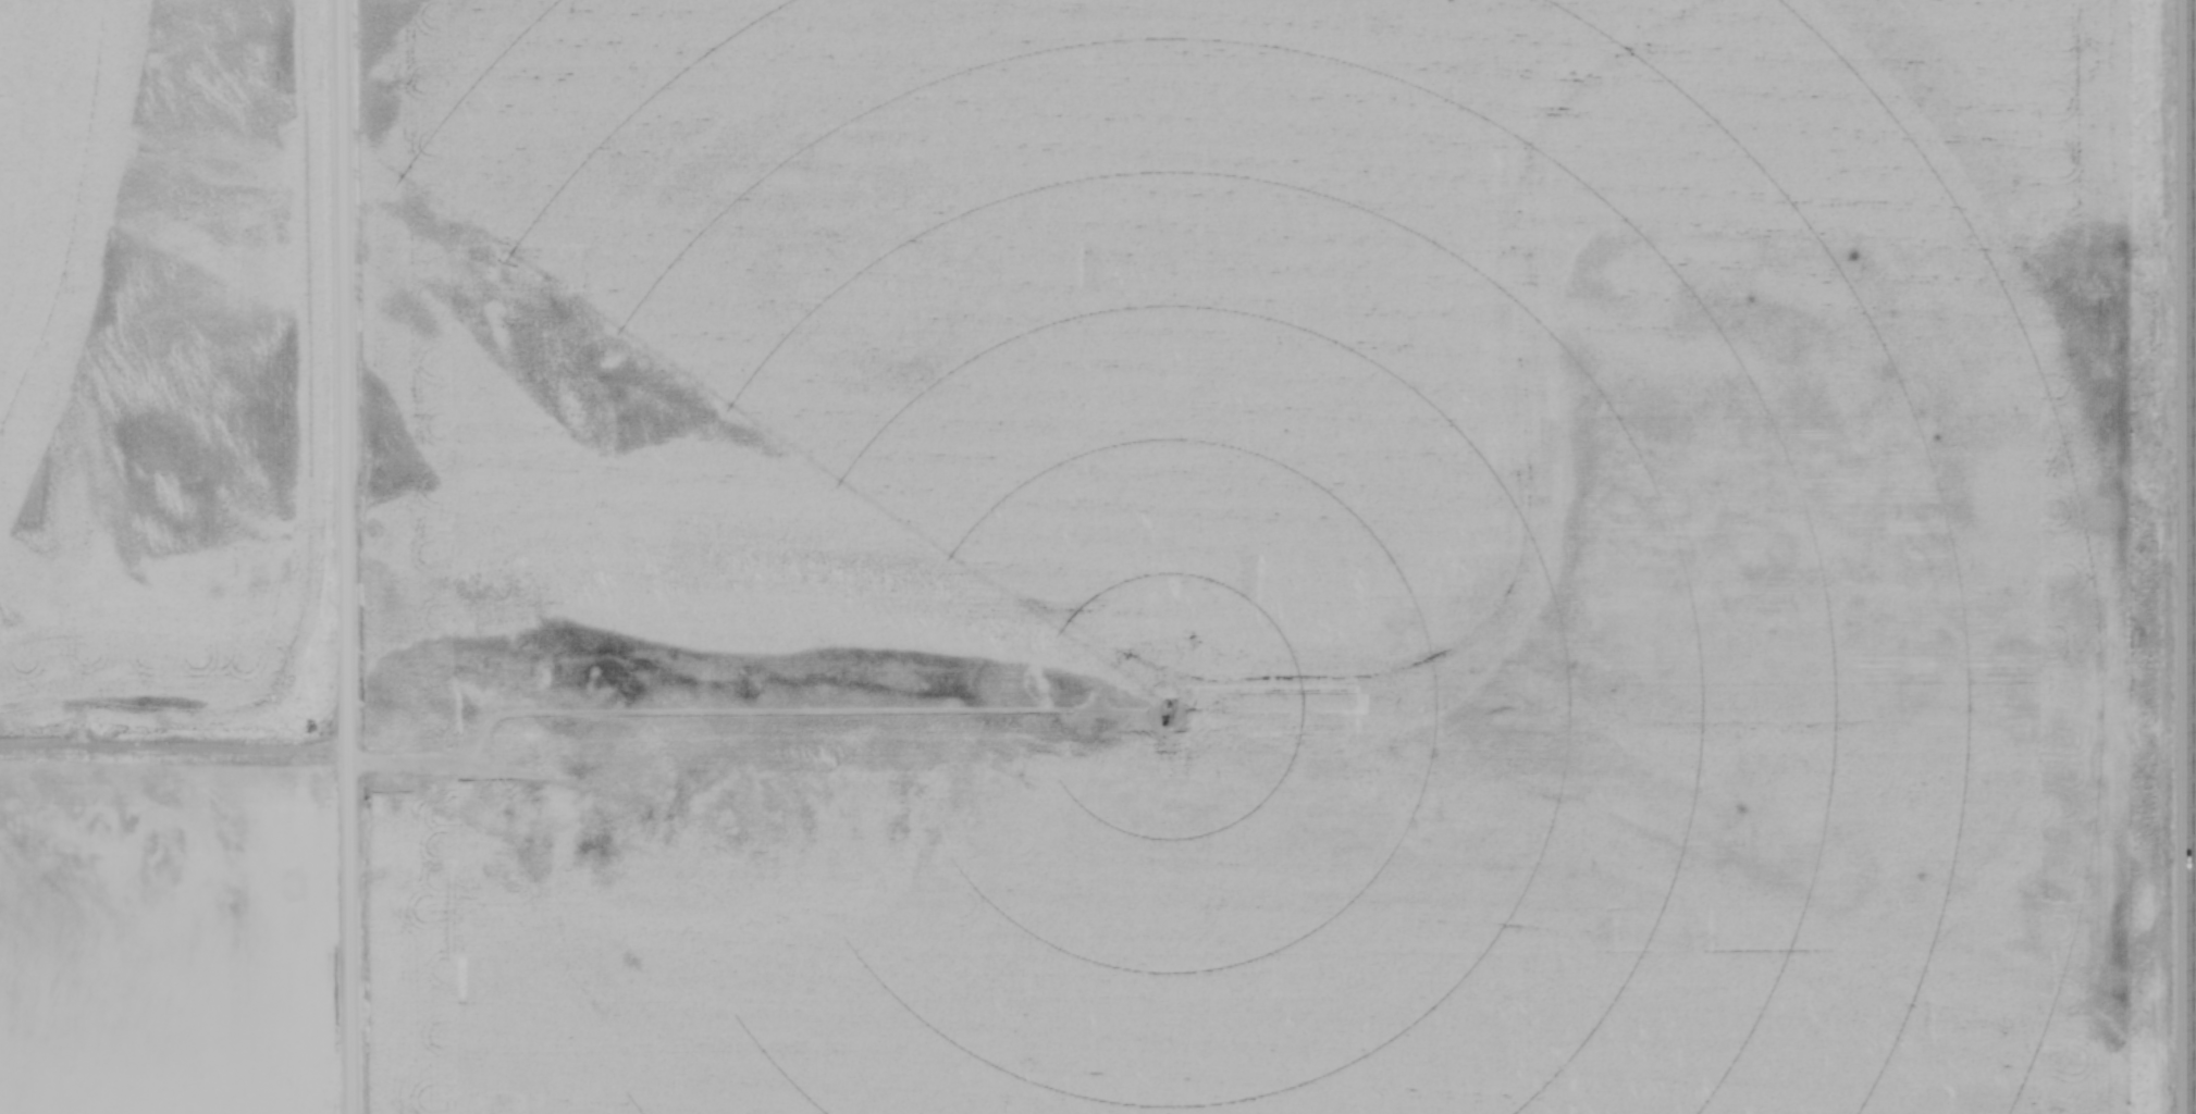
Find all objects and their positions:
crop: (1232, 556)
road: (342, 557)
road: (2195, 557)
road: (172, 747)

